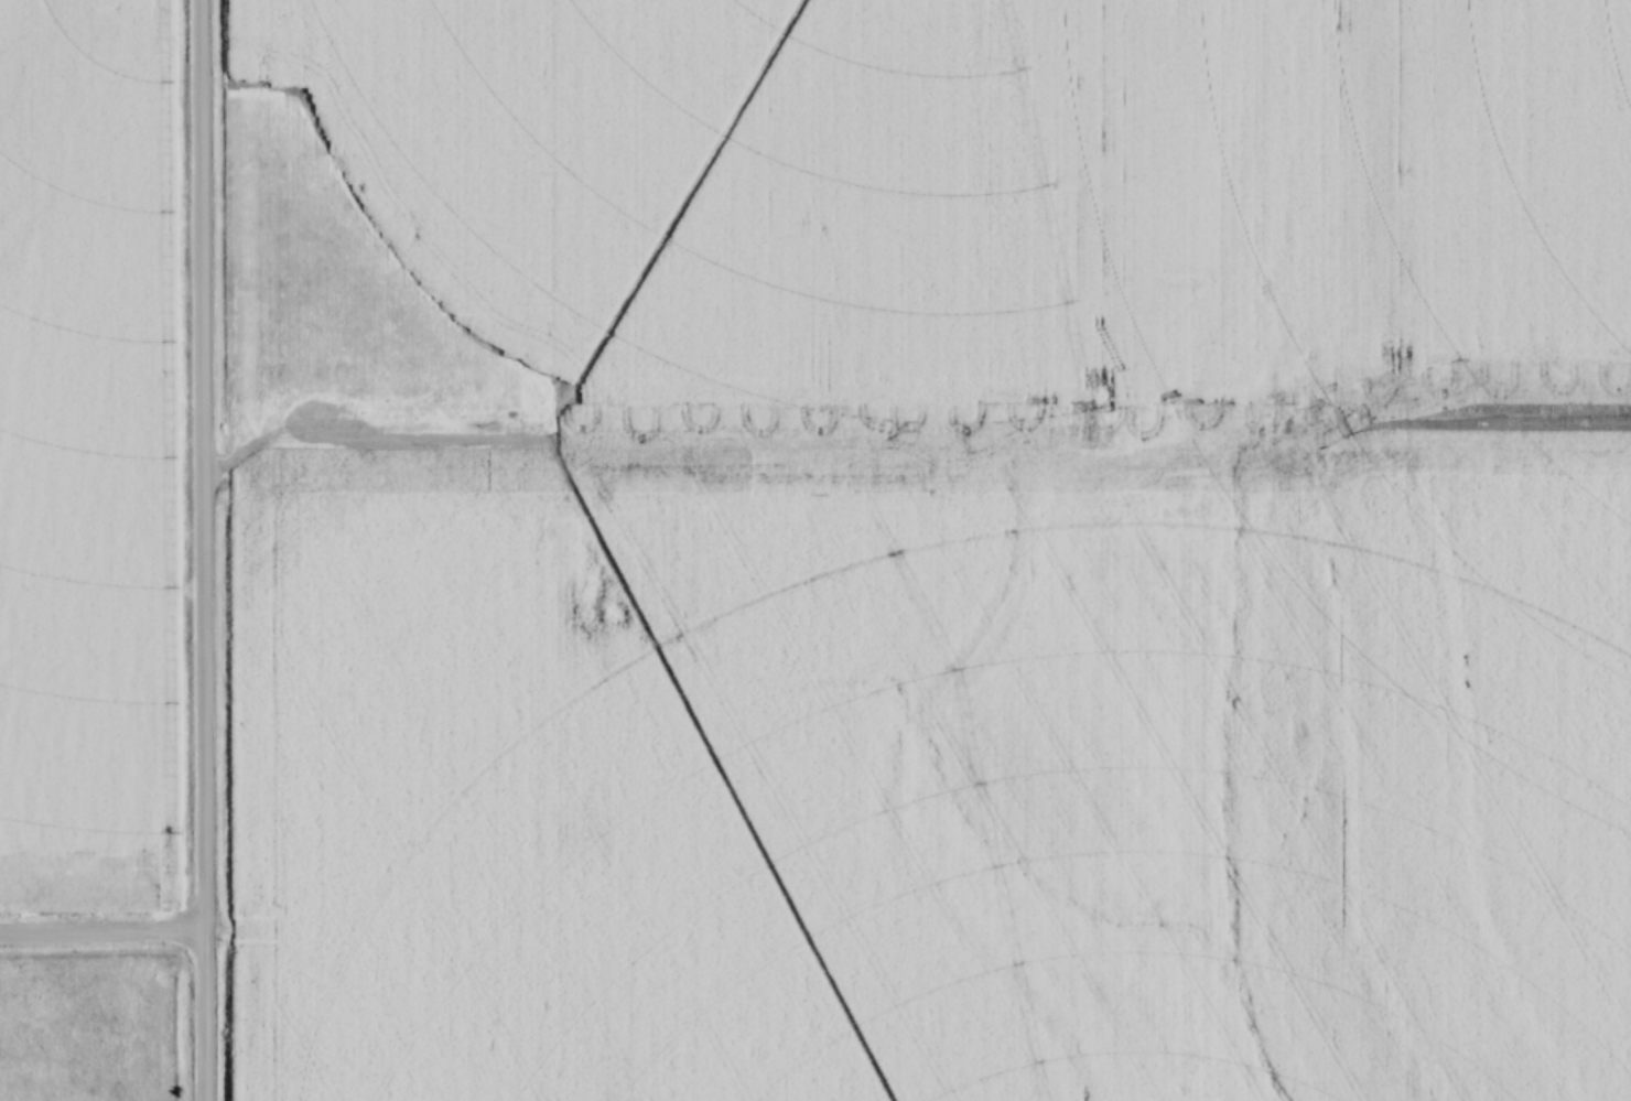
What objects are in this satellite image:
road: (205, 550)
road: (104, 932)

